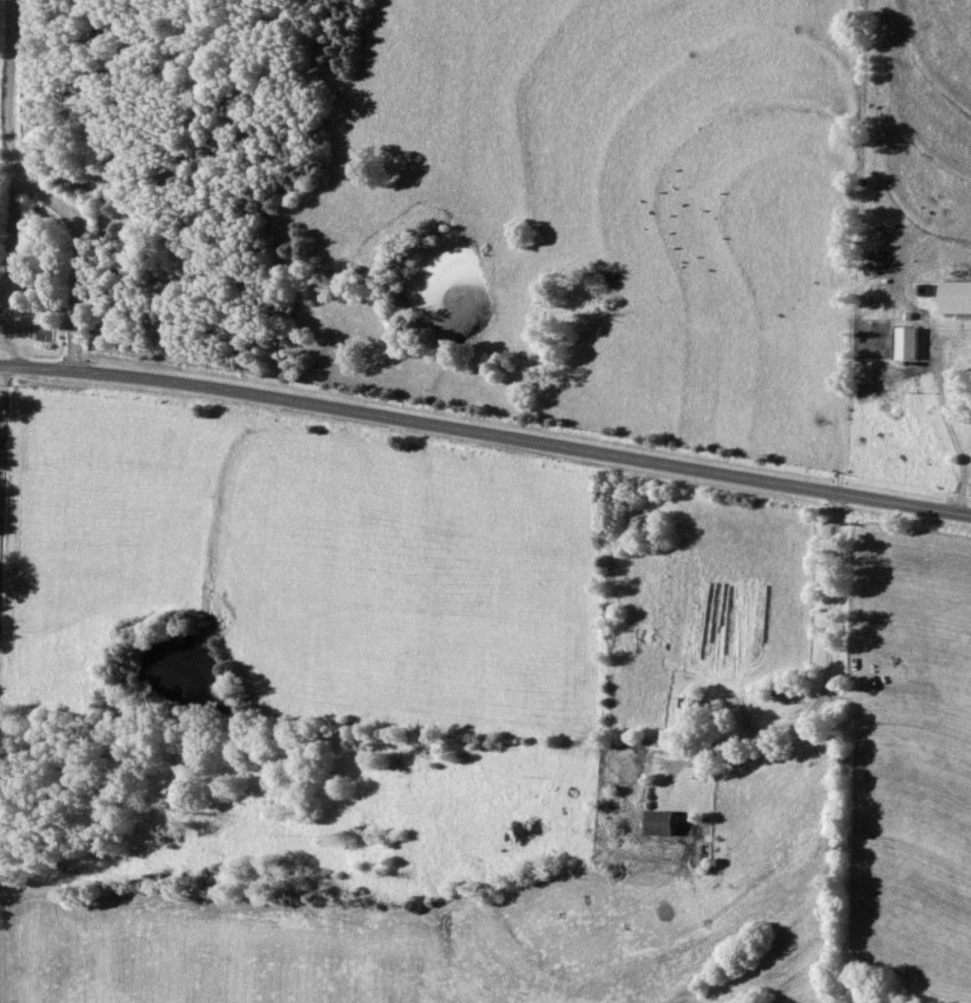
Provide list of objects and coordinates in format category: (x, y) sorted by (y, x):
road: (36, 190)
building: (957, 299)
building: (1, 303)
building: (910, 345)
road: (486, 436)
road: (818, 680)
building: (663, 823)

